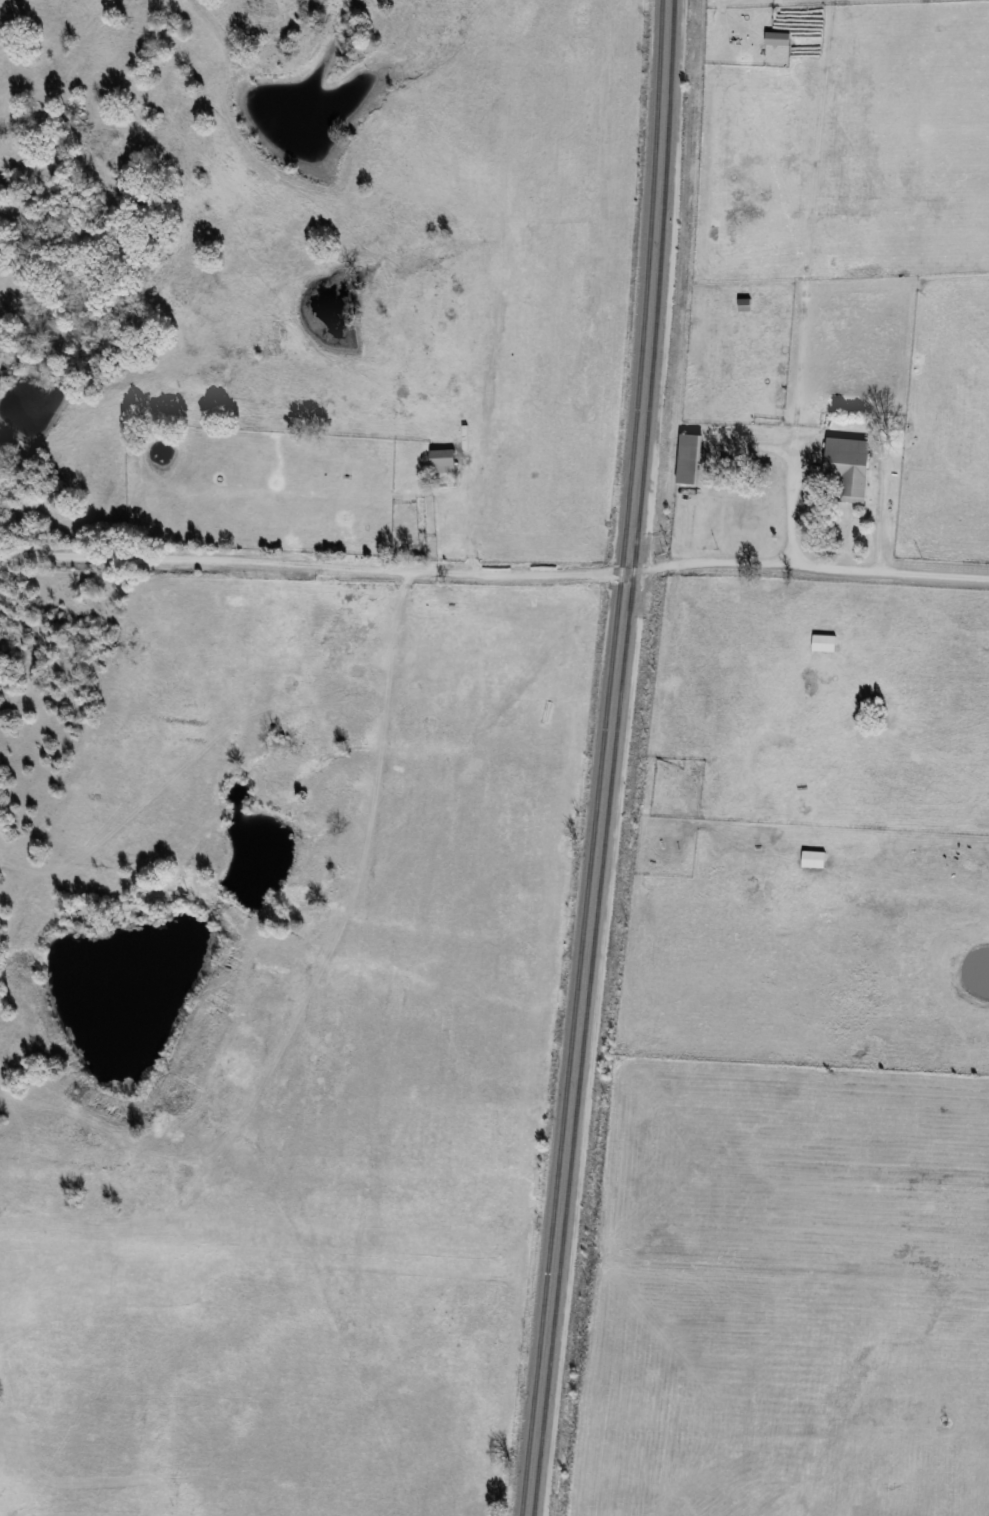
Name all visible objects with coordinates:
building: (777, 37)
building: (745, 304)
building: (690, 458)
building: (443, 460)
building: (849, 466)
road: (494, 576)
building: (824, 642)
railway: (611, 758)
building: (814, 858)

